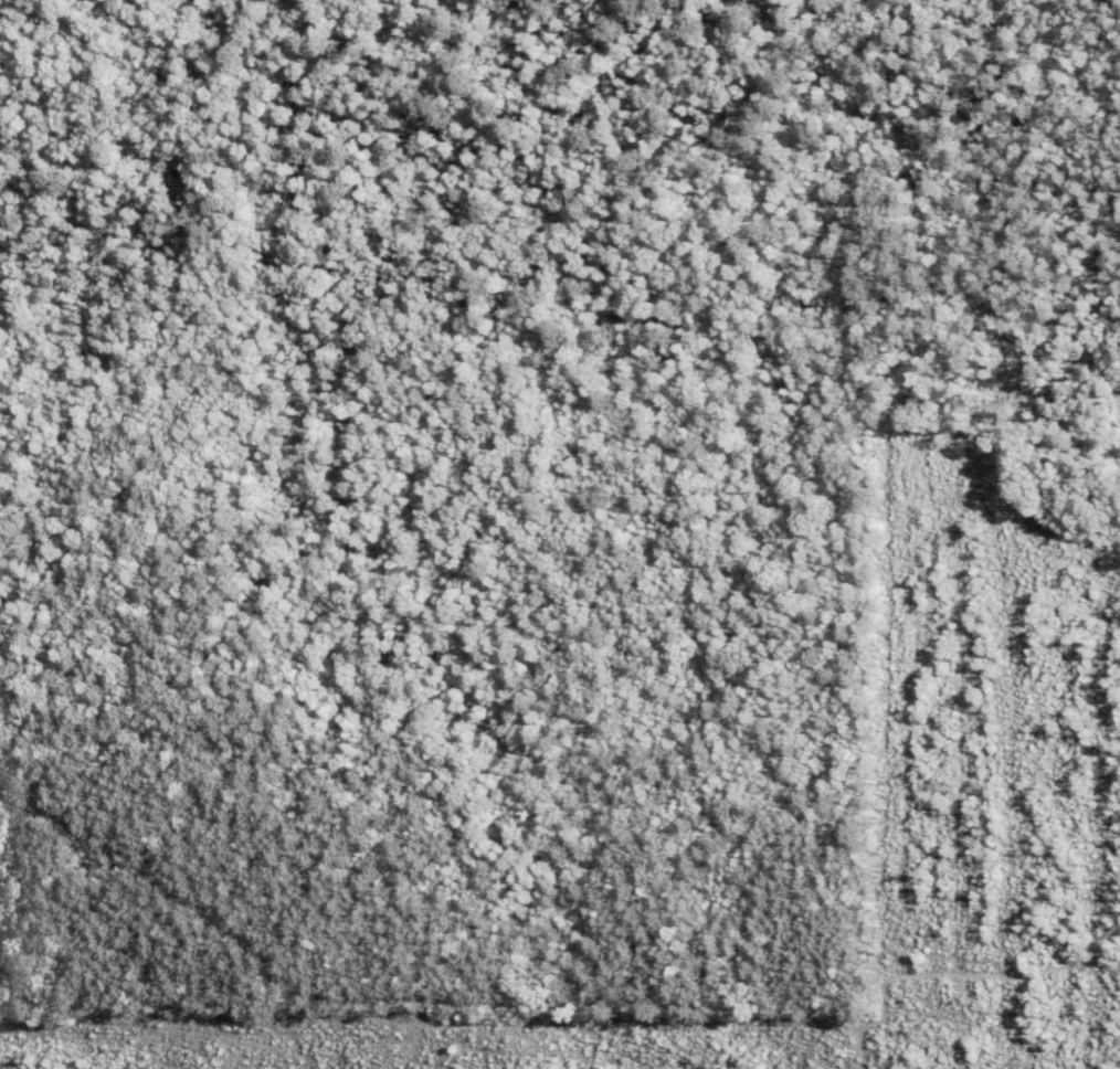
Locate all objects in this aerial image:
building: (828, 967)
road: (862, 1049)

